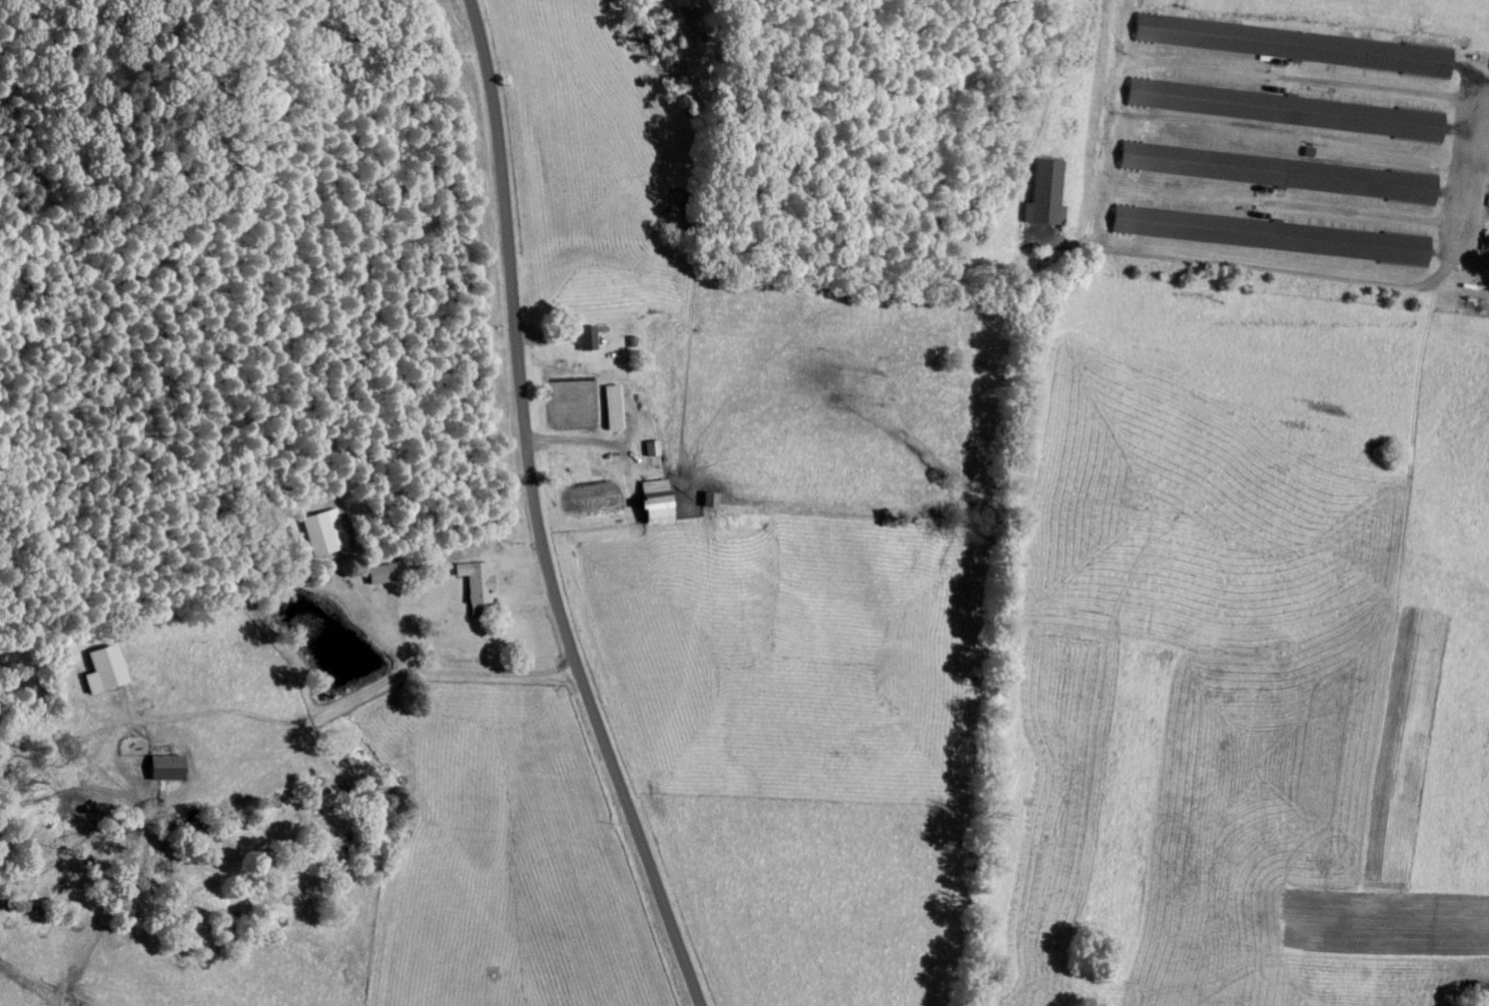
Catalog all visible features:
building: (1289, 49)
building: (1282, 113)
building: (1274, 176)
building: (1042, 198)
building: (1267, 238)
building: (582, 341)
building: (610, 410)
building: (648, 451)
building: (705, 502)
building: (649, 505)
road: (536, 514)
building: (322, 536)
building: (380, 577)
building: (473, 584)
building: (103, 672)
building: (161, 771)

